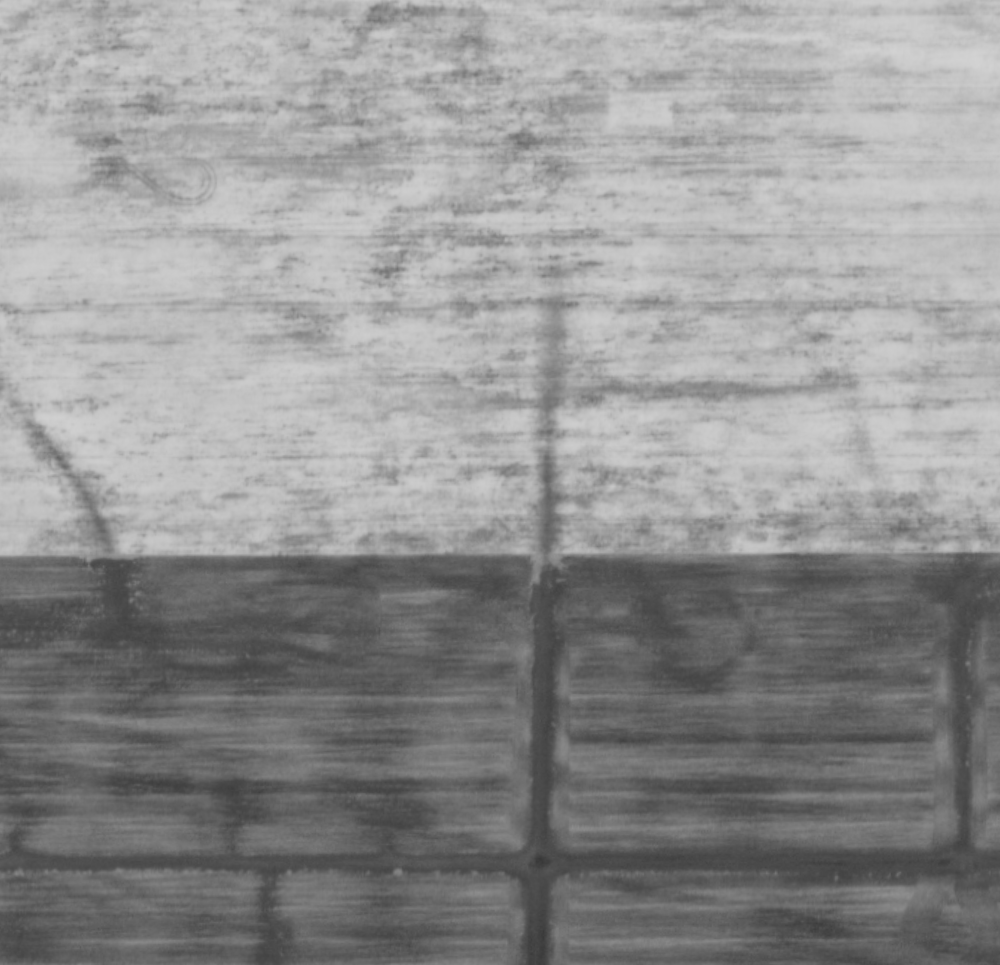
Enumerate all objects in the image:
crop: (500, 482)

